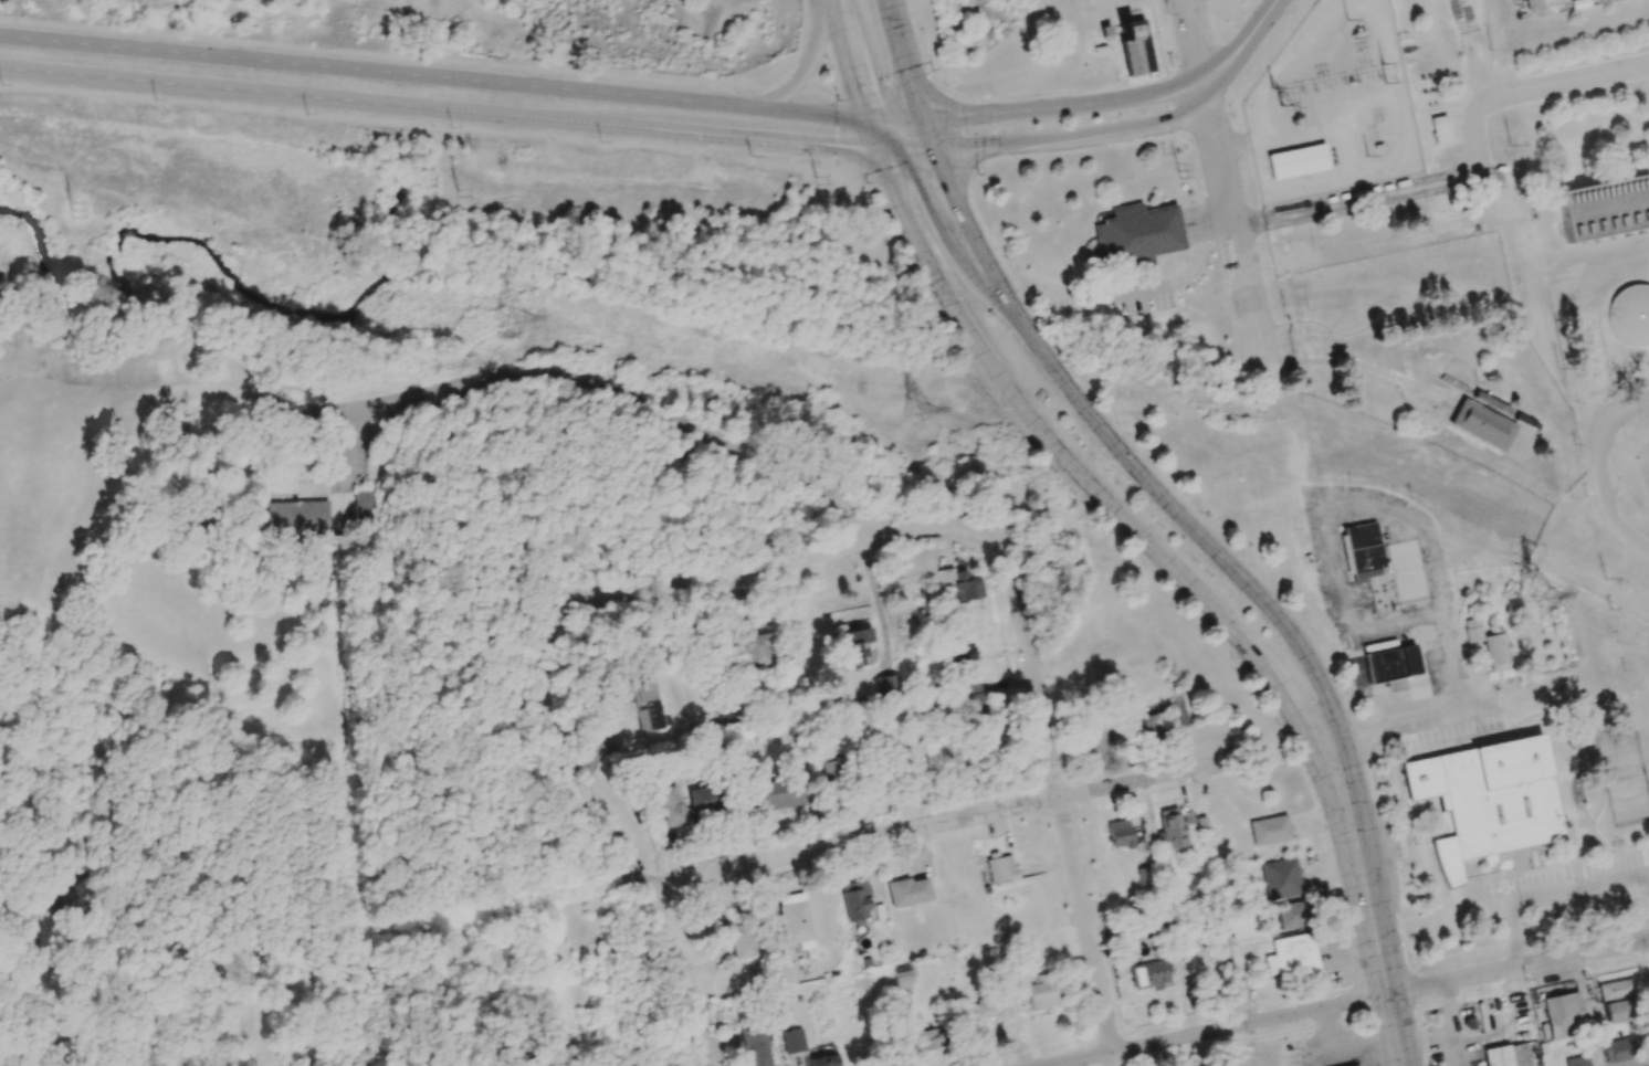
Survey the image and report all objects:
building: (1533, 6)
road: (832, 15)
road: (1191, 44)
building: (1134, 46)
road: (1241, 46)
road: (901, 59)
road: (806, 67)
road: (798, 73)
power tower: (1389, 73)
road: (459, 80)
road: (853, 91)
traffic signals: (855, 96)
road: (314, 97)
power tower: (1278, 97)
road: (1060, 105)
power substation: (1333, 107)
traffic signals: (959, 115)
road: (1071, 133)
building: (1440, 133)
road: (750, 138)
road: (1231, 144)
traffic signals: (837, 146)
road: (903, 148)
building: (1298, 161)
power tower: (1178, 171)
traffic signals: (944, 175)
power tower: (818, 181)
road: (949, 186)
power tower: (469, 188)
power tower: (87, 204)
building: (1606, 209)
road: (1231, 219)
building: (1136, 235)
road: (1002, 288)
power tower: (514, 319)
road: (652, 409)
power tower: (926, 410)
road: (1069, 463)
road: (1603, 471)
park: (376, 485)
building: (368, 504)
building: (298, 520)
road: (1191, 524)
building: (1363, 550)
road: (765, 564)
power tower: (1538, 599)
road: (1347, 621)
building: (1471, 630)
building: (759, 650)
building: (962, 650)
building: (853, 651)
building: (1496, 652)
building: (1390, 666)
building: (883, 685)
building: (969, 699)
park: (1646, 701)
building: (647, 705)
building: (1154, 722)
road: (1403, 724)
building: (1091, 740)
building: (829, 771)
park: (1625, 778)
road: (1144, 779)
road: (1057, 789)
building: (773, 794)
building: (702, 800)
building: (1485, 800)
building: (668, 806)
building: (1169, 828)
road: (1364, 828)
building: (1269, 830)
building: (1118, 834)
road: (1341, 834)
road: (851, 842)
road: (622, 851)
building: (1001, 869)
building: (1280, 878)
parking lot: (1572, 890)
building: (907, 891)
road: (1553, 894)
building: (855, 901)
building: (1291, 916)
building: (794, 921)
building: (737, 938)
building: (1291, 956)
road: (1517, 965)
building: (784, 972)
building: (1148, 974)
building: (902, 975)
building: (1041, 994)
road: (1388, 994)
building: (1617, 1001)
building: (991, 1009)
building: (1563, 1014)
road: (1250, 1023)
building: (927, 1037)
building: (791, 1041)
building: (755, 1047)
building: (1617, 1051)
building: (1498, 1056)
road: (1081, 1059)
road: (1114, 1059)
building: (821, 1060)
building: (1577, 1060)
building: (1357, 1065)

